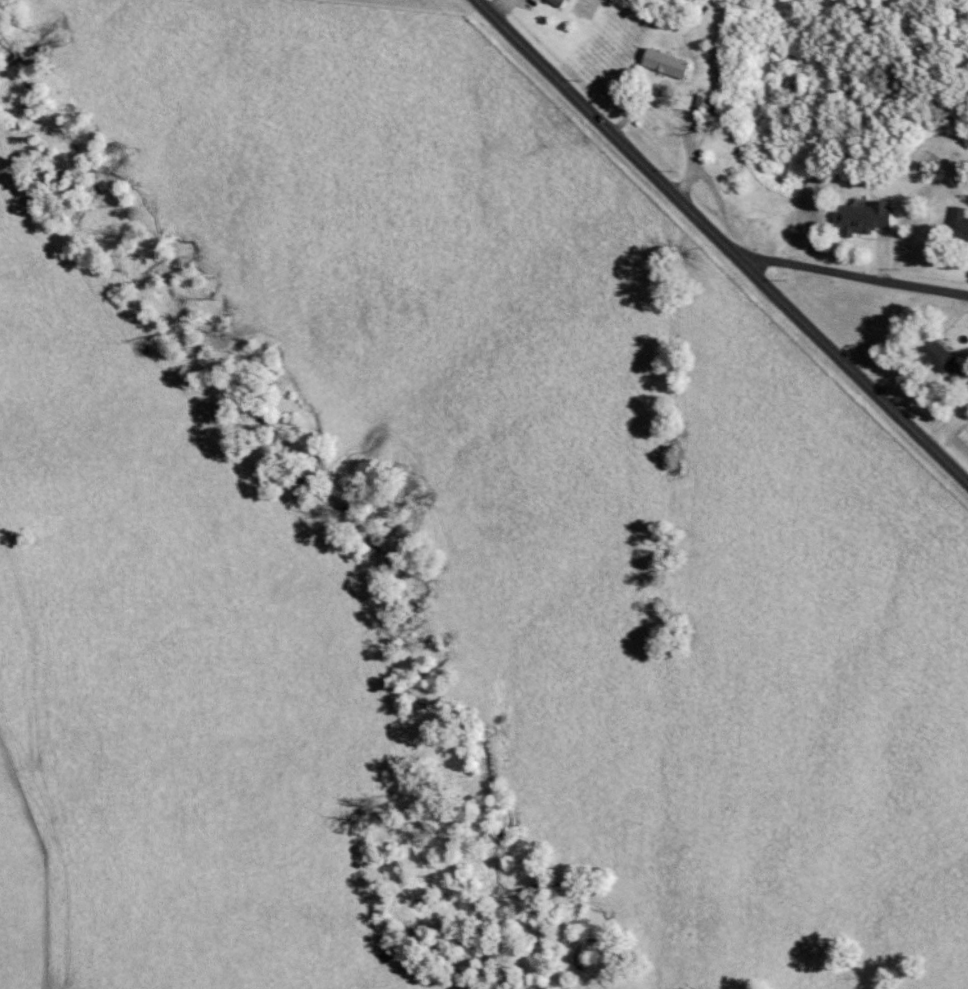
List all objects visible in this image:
building: (553, 1)
building: (661, 64)
building: (702, 107)
building: (861, 218)
building: (957, 225)
road: (723, 238)
road: (856, 278)
building: (930, 354)

